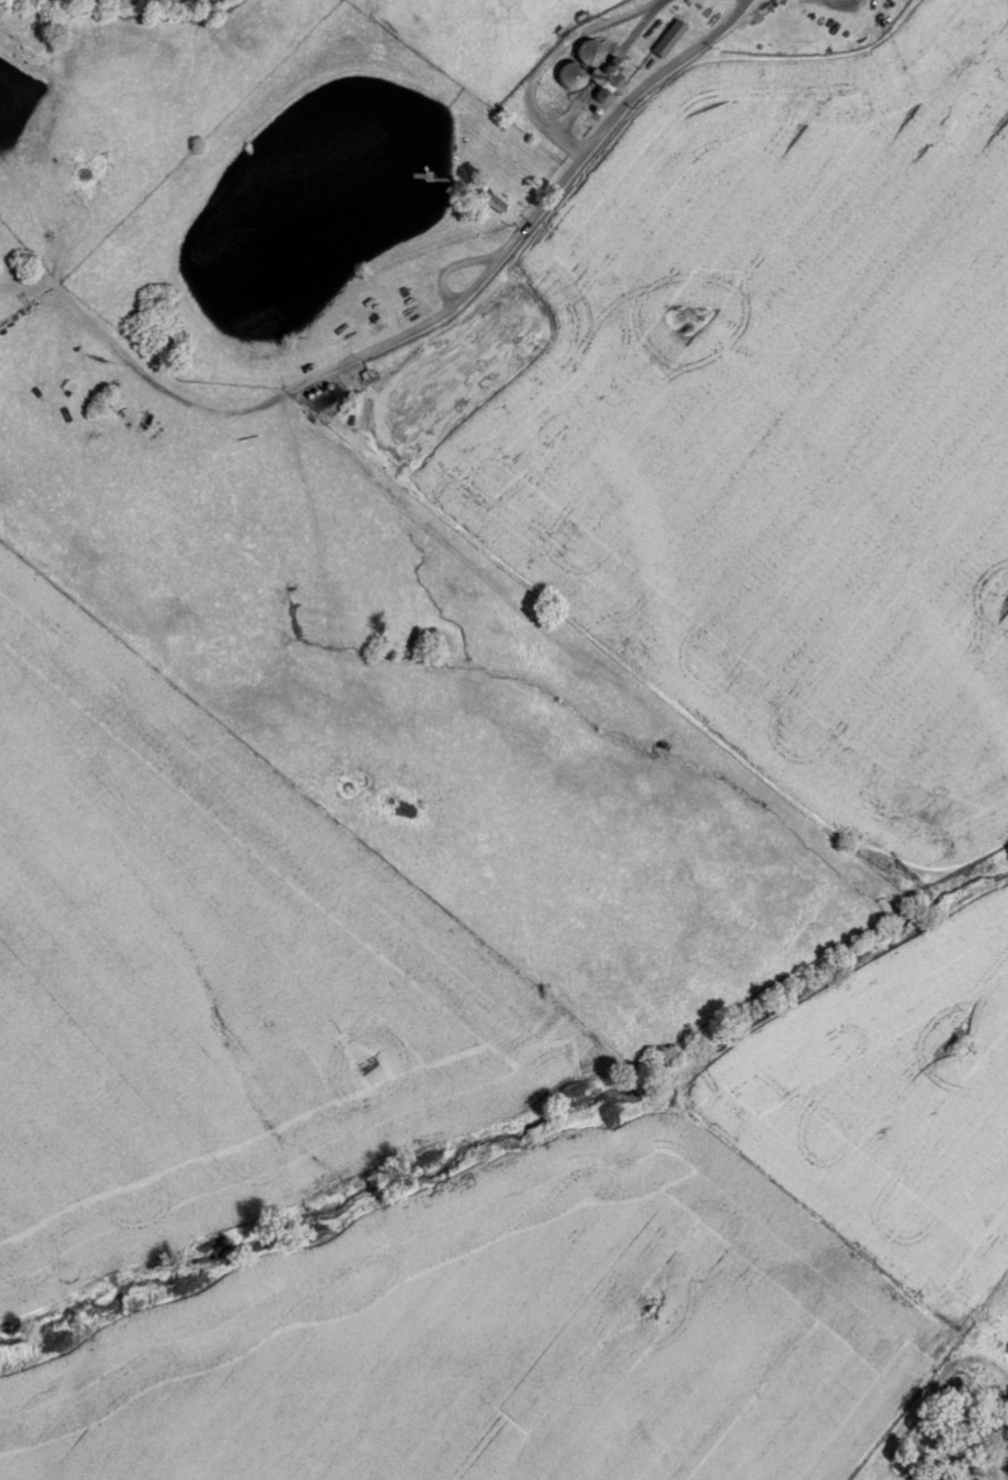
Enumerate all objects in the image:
building: (668, 40)
building: (588, 70)
road: (570, 97)
road: (965, 1454)
building: (1006, 1467)

